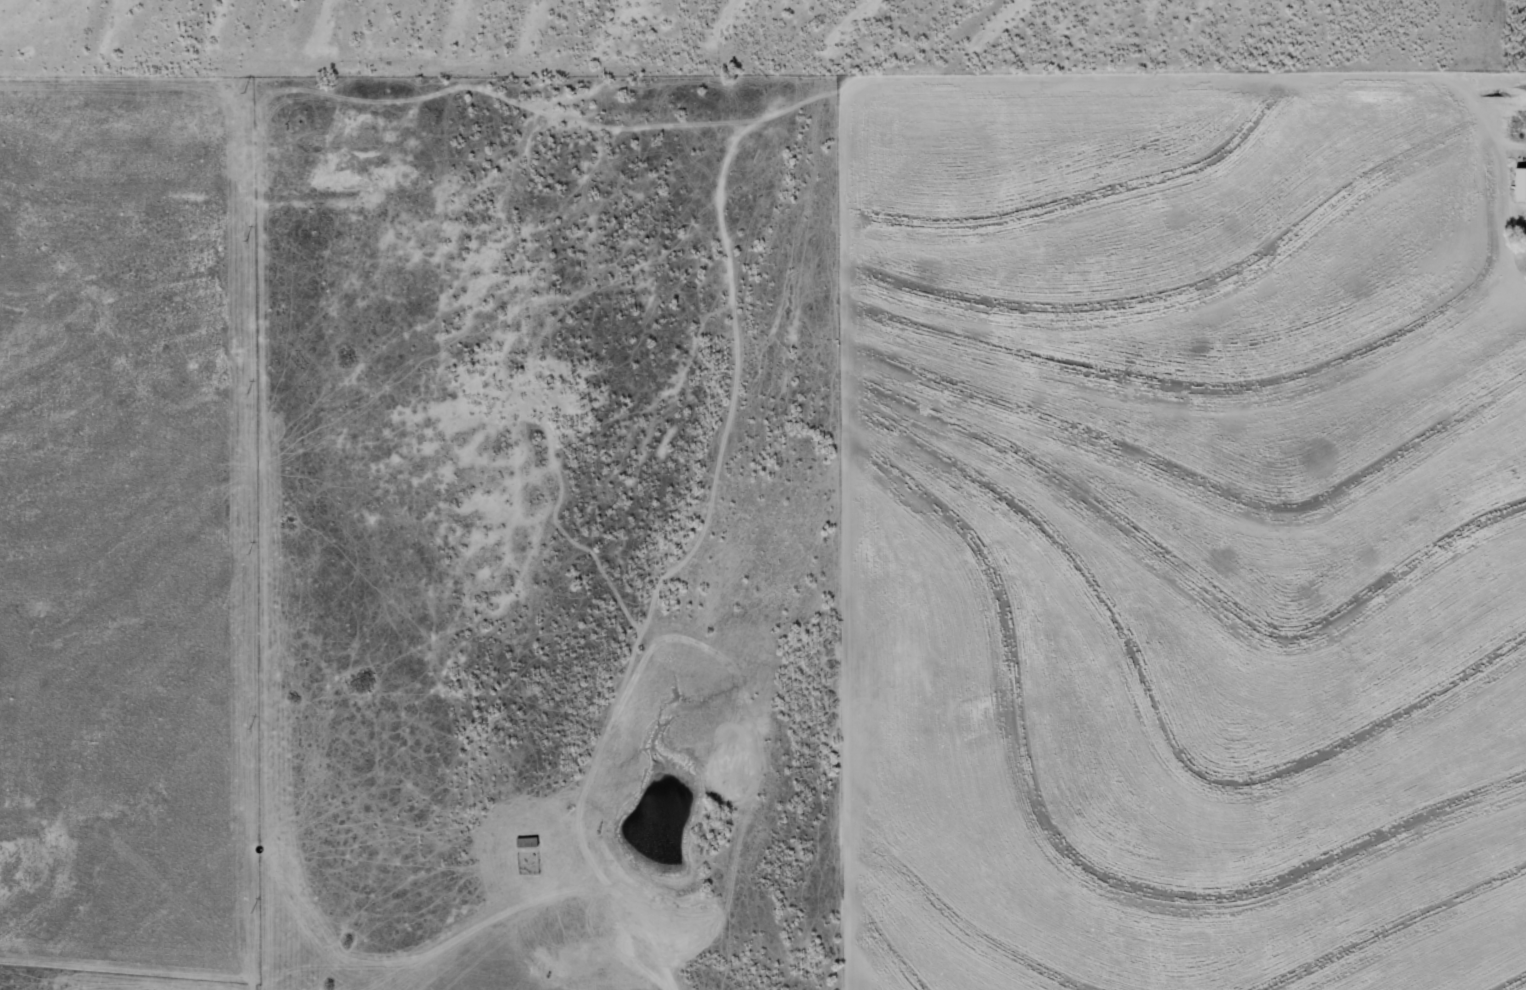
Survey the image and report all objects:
building: (1521, 184)

